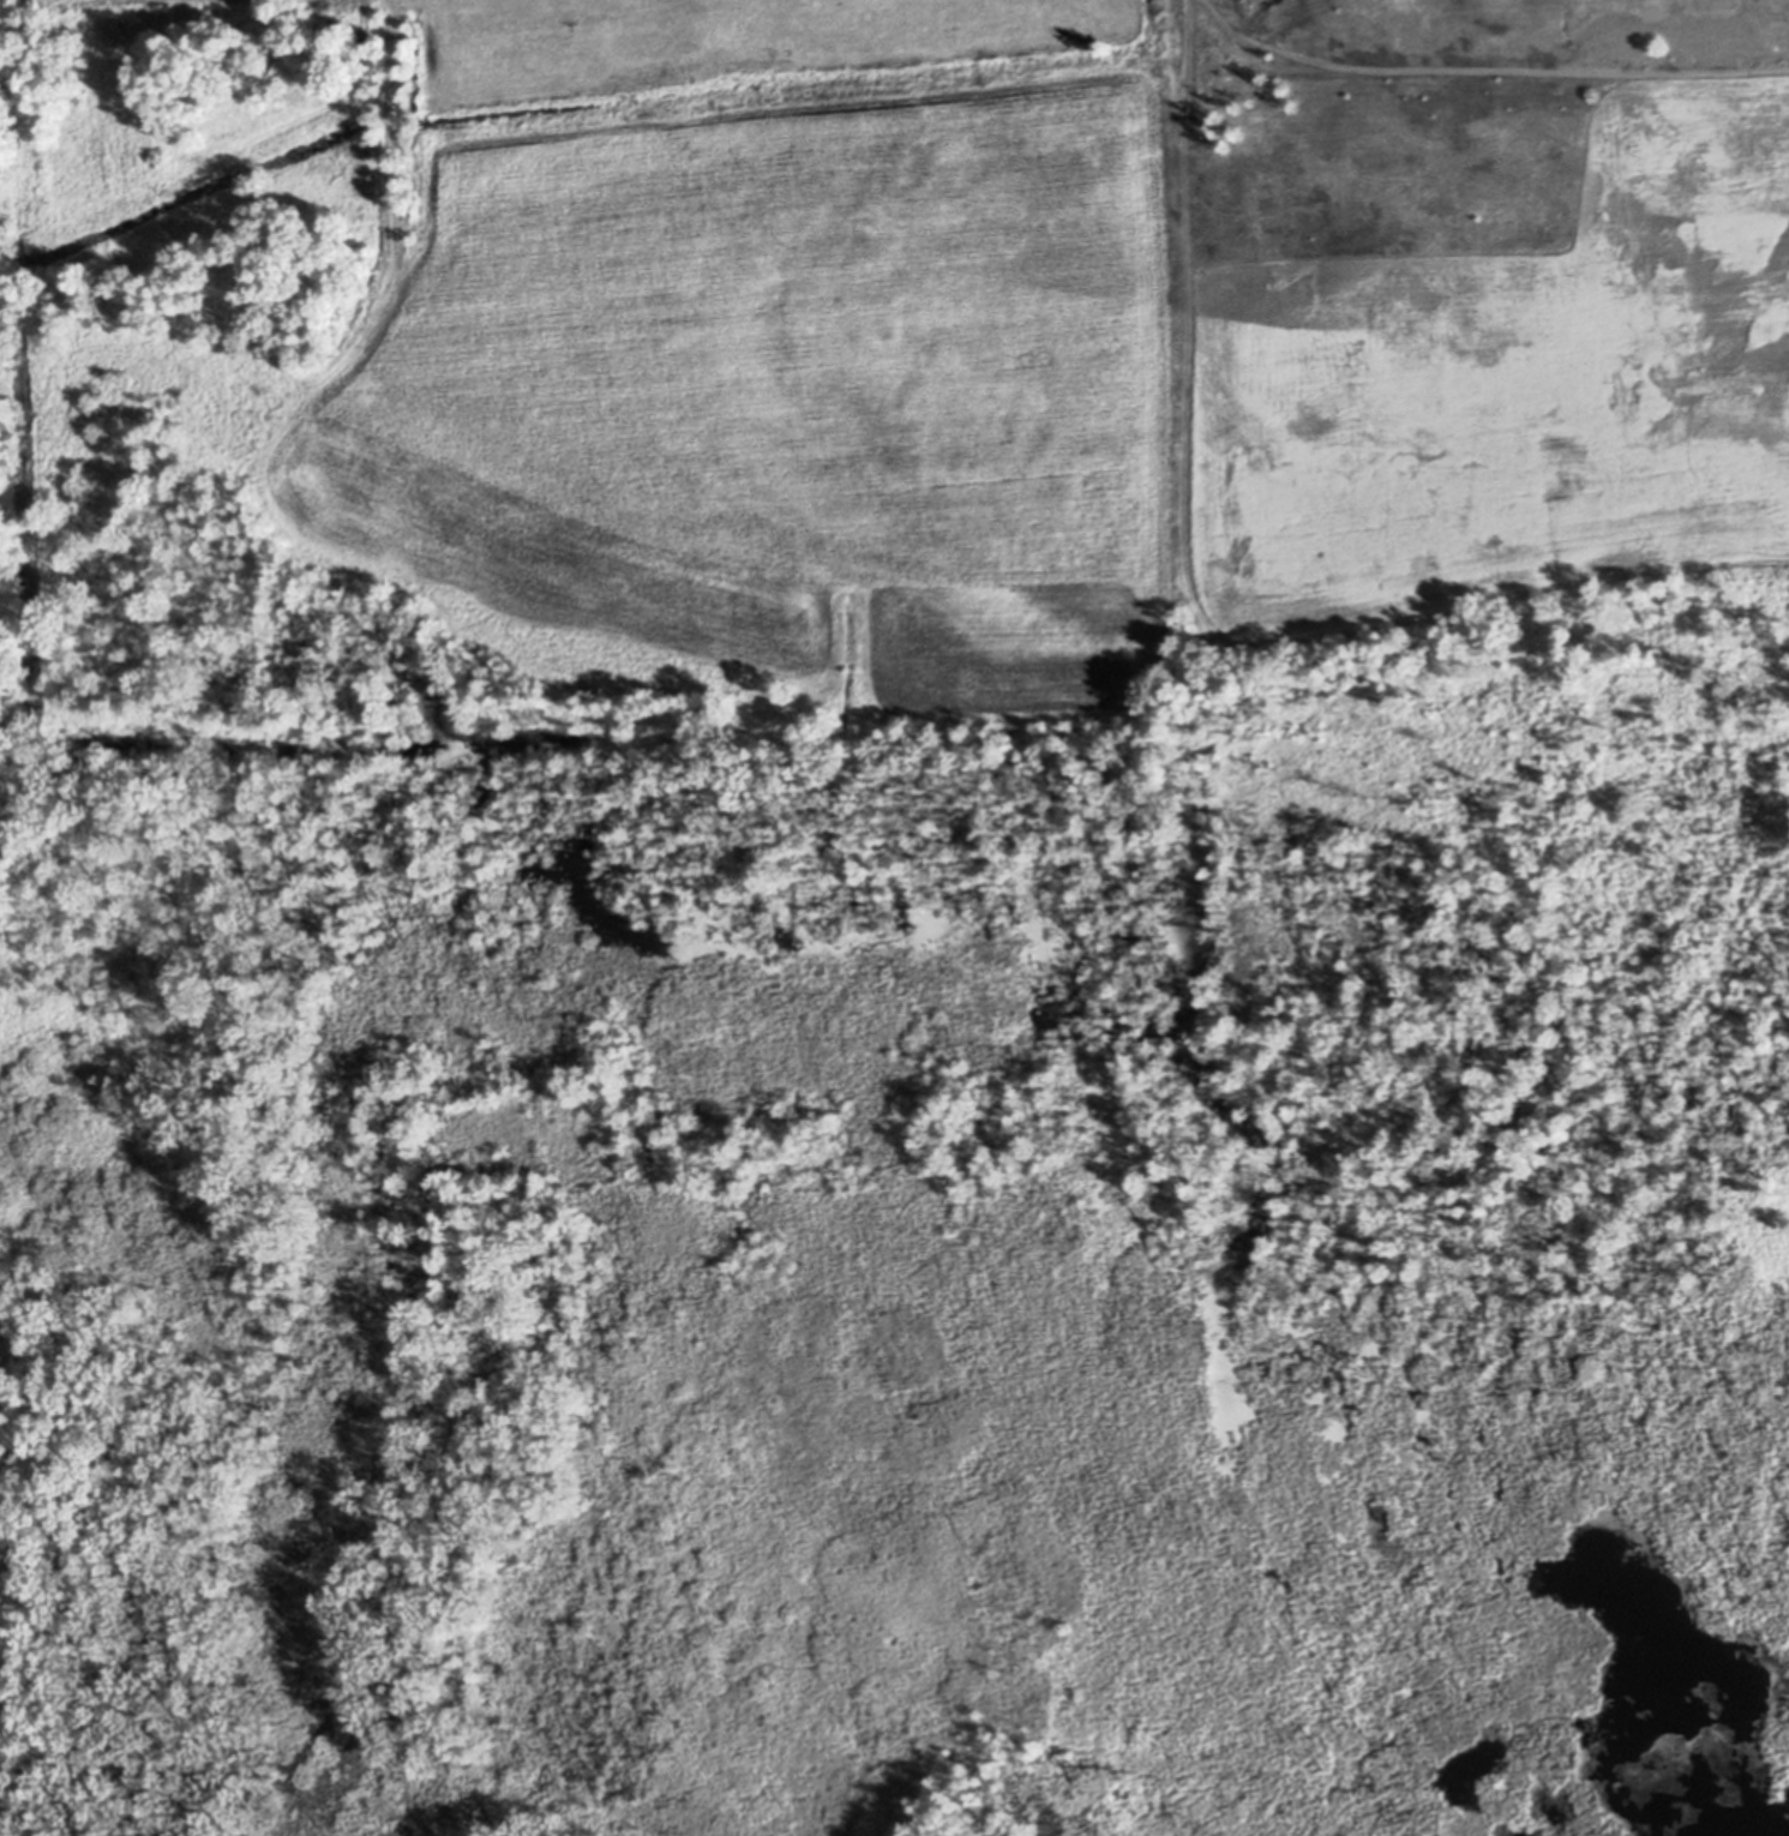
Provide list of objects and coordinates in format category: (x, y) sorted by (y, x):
road: (383, 43)
road: (1481, 70)
road: (386, 116)
road: (389, 199)

